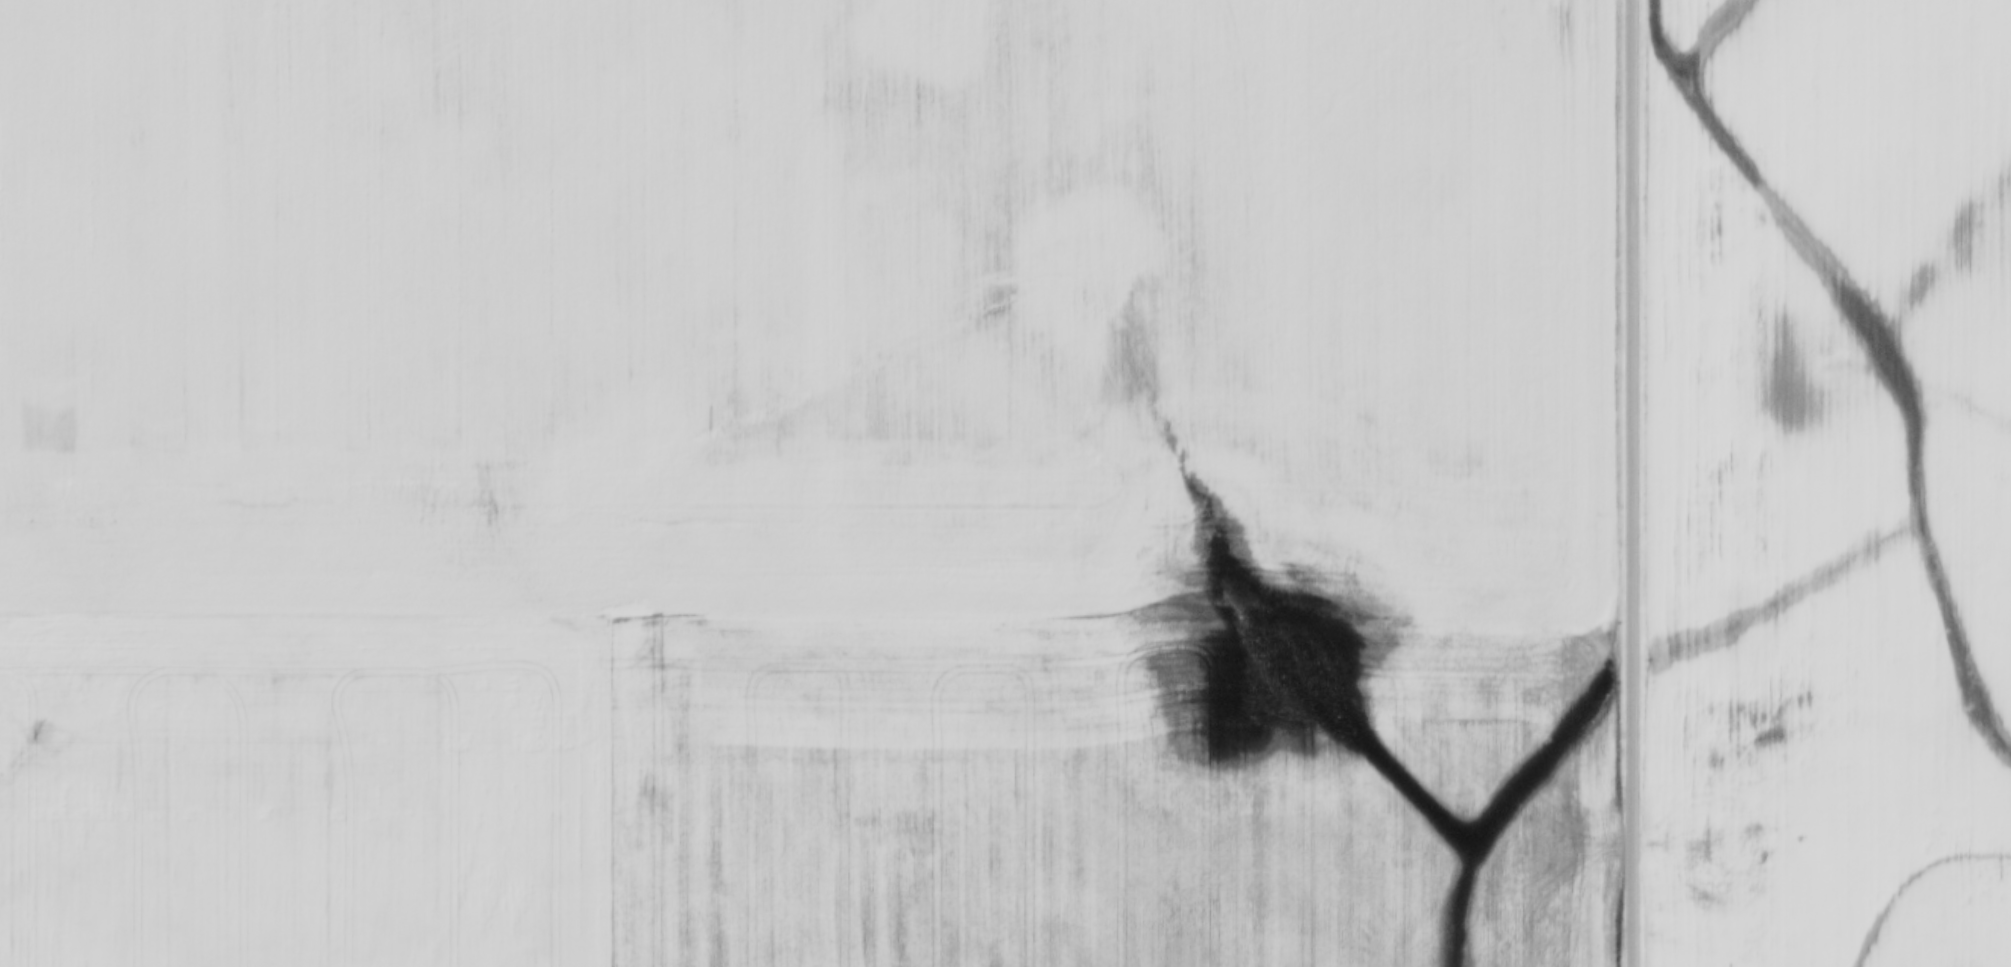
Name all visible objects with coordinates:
road: (1635, 483)

